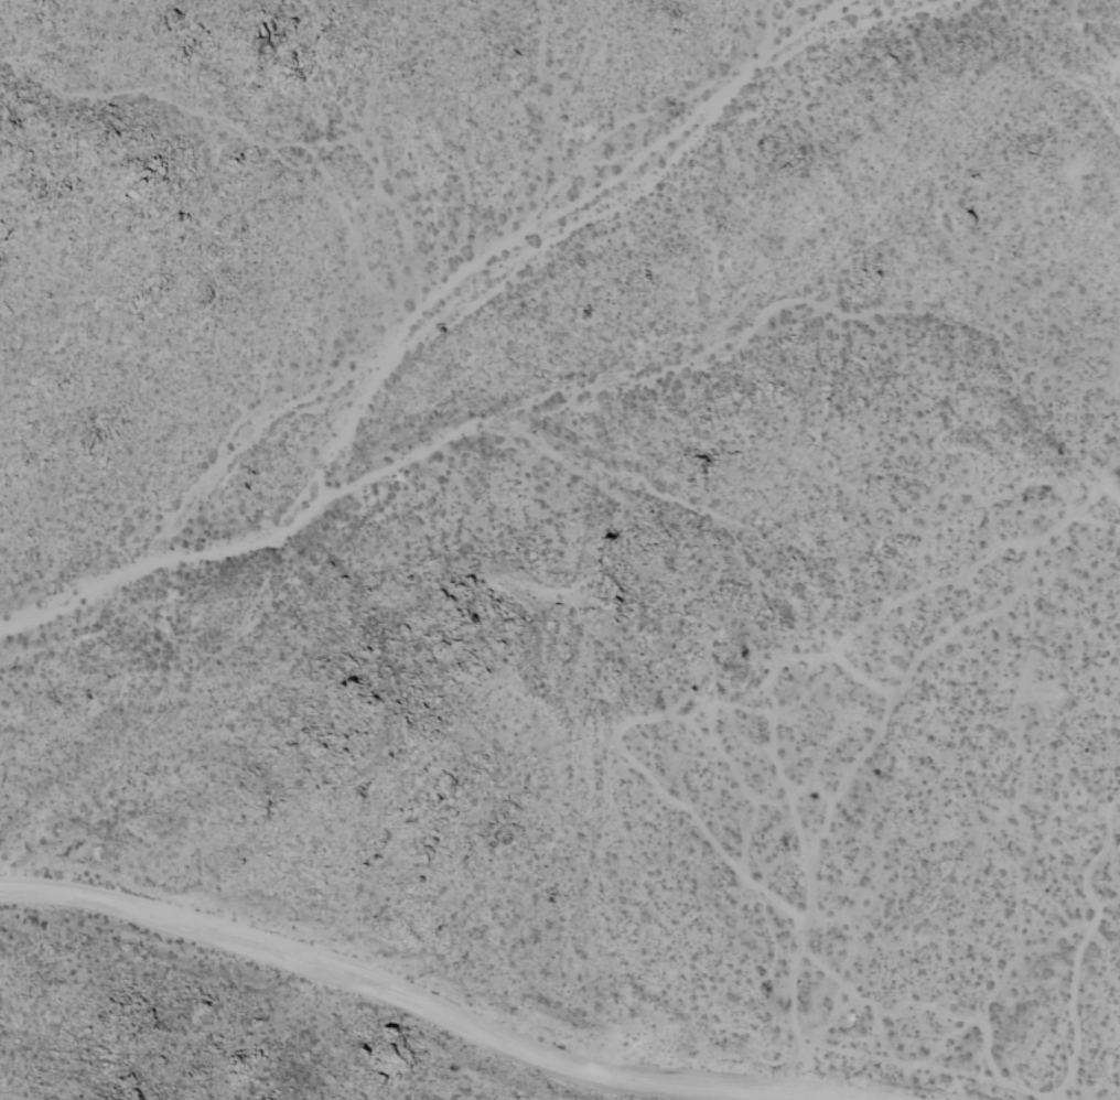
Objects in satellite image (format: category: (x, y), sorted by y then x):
road: (399, 996)

